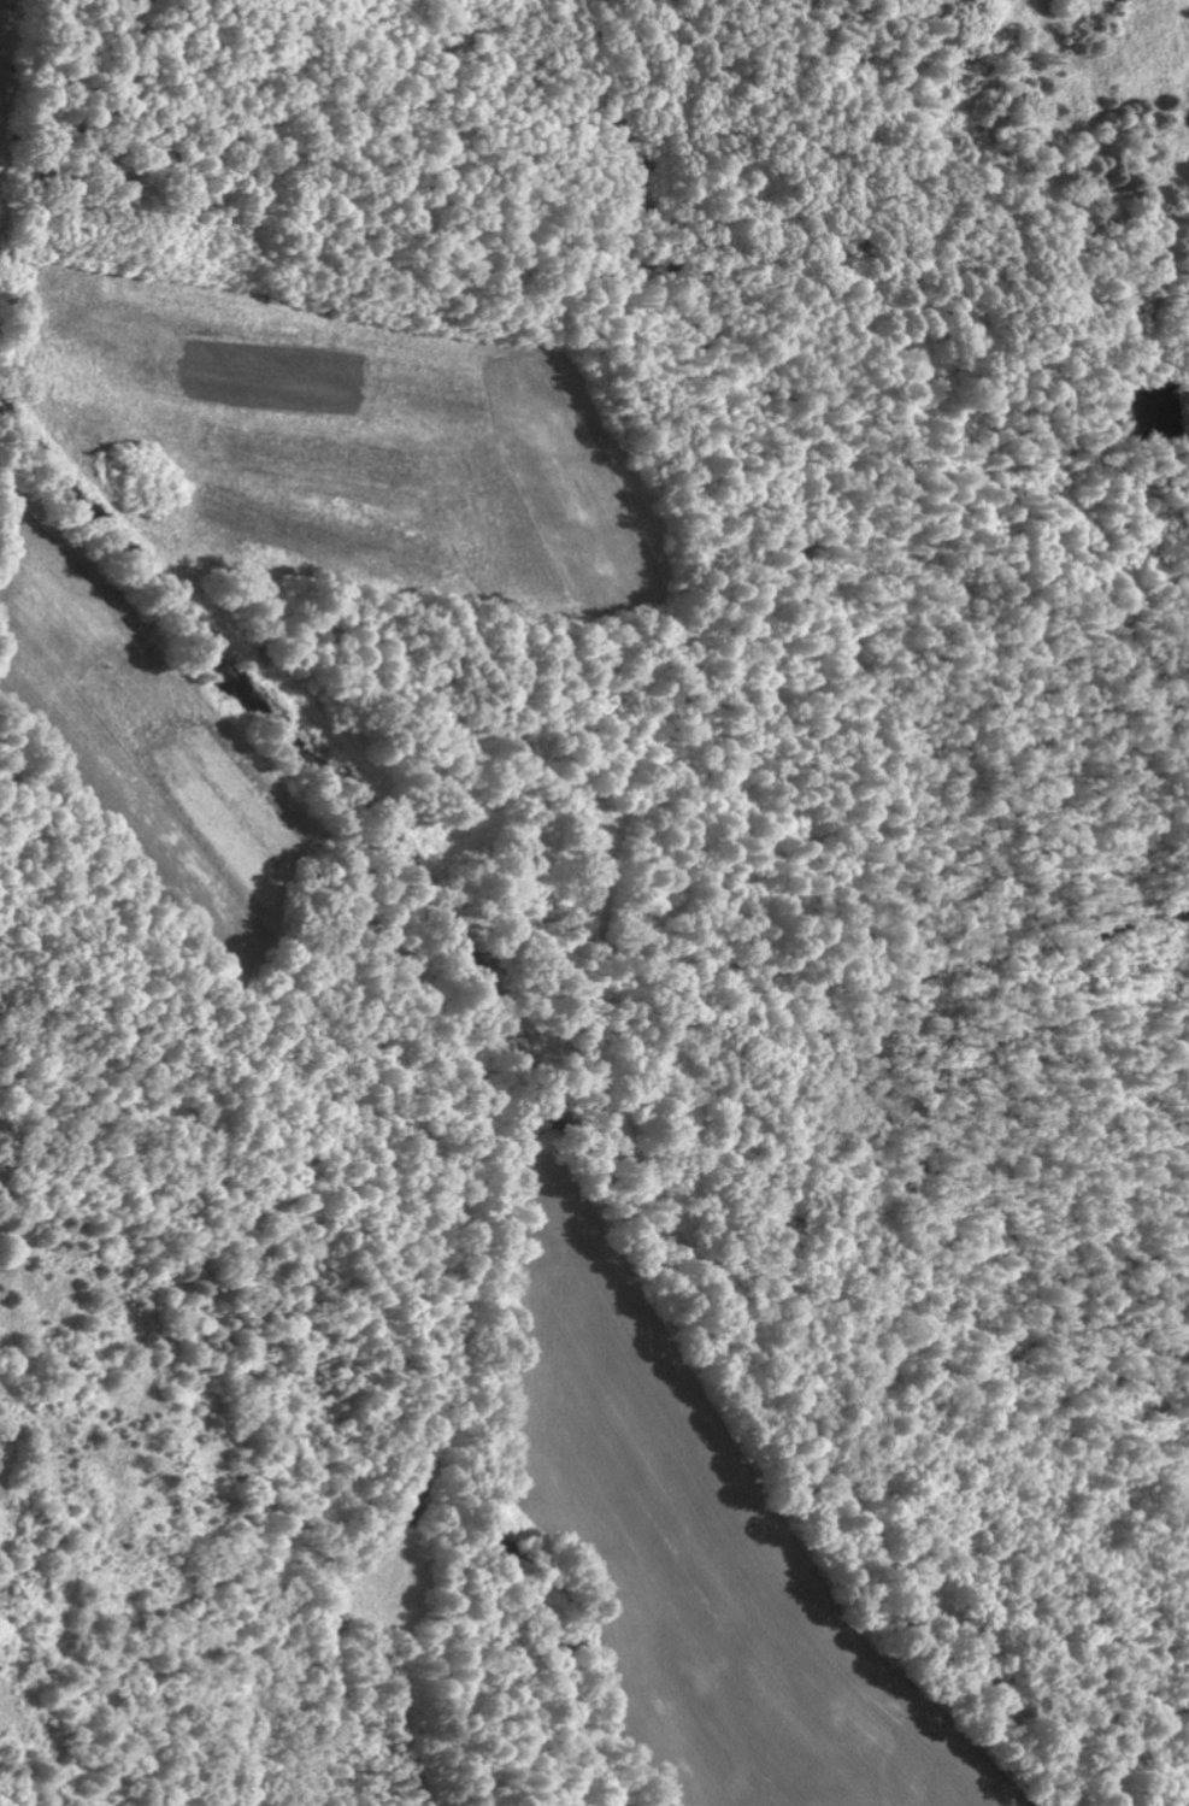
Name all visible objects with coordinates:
road: (928, 283)

